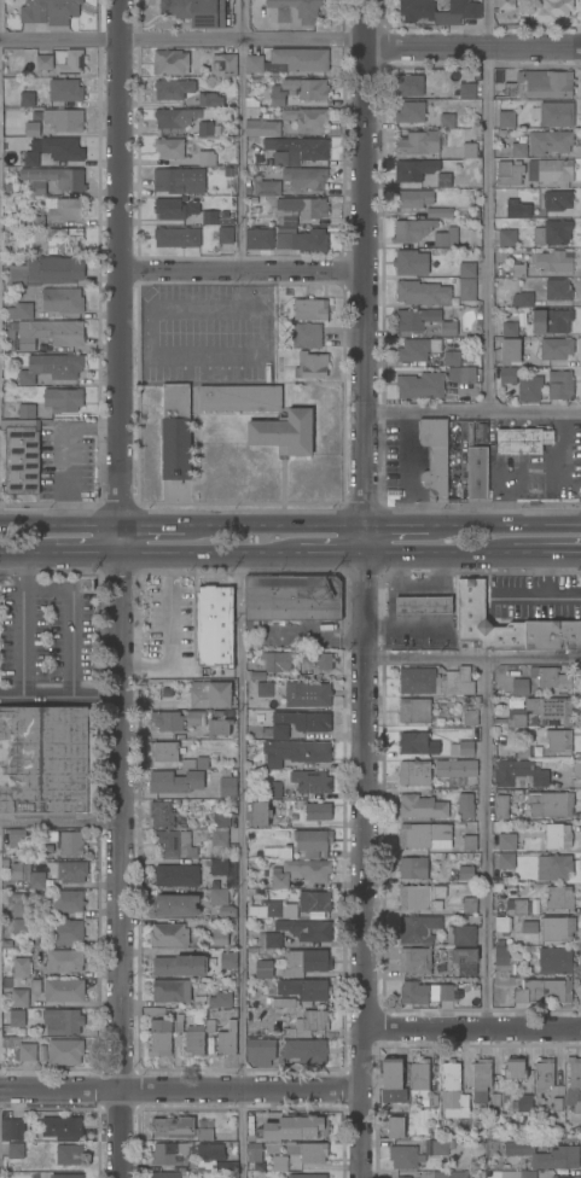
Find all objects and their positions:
building: (507, 5)
building: (548, 10)
building: (197, 11)
building: (292, 11)
building: (50, 12)
building: (440, 12)
road: (291, 41)
building: (301, 58)
building: (69, 60)
building: (43, 62)
building: (169, 62)
building: (252, 63)
building: (223, 64)
building: (539, 83)
building: (407, 84)
building: (173, 88)
building: (65, 89)
building: (466, 89)
building: (297, 91)
building: (27, 99)
building: (210, 99)
building: (411, 112)
building: (556, 113)
building: (175, 116)
building: (307, 117)
building: (63, 118)
building: (506, 118)
building: (447, 119)
building: (262, 127)
building: (33, 128)
building: (205, 128)
road: (239, 134)
building: (418, 141)
building: (541, 142)
building: (59, 147)
building: (173, 147)
building: (295, 150)
building: (469, 150)
building: (31, 158)
building: (207, 158)
building: (413, 169)
building: (551, 170)
building: (509, 173)
building: (57, 176)
building: (304, 176)
building: (179, 180)
building: (443, 180)
building: (265, 187)
building: (35, 188)
building: (412, 198)
building: (556, 199)
road: (482, 206)
building: (63, 208)
building: (174, 208)
building: (298, 209)
building: (523, 209)
building: (438, 212)
building: (216, 217)
building: (412, 229)
building: (552, 232)
building: (225, 234)
building: (176, 237)
building: (506, 237)
building: (258, 238)
building: (62, 239)
building: (441, 239)
building: (283, 240)
building: (312, 240)
building: (551, 261)
building: (411, 262)
road: (240, 269)
building: (466, 269)
building: (46, 270)
building: (519, 270)
building: (466, 288)
building: (557, 288)
building: (422, 292)
building: (522, 298)
building: (62, 299)
building: (309, 308)
building: (19, 310)
building: (422, 320)
building: (551, 320)
building: (509, 328)
building: (50, 331)
building: (307, 334)
building: (554, 348)
building: (416, 349)
road: (193, 355)
building: (451, 357)
building: (506, 358)
building: (310, 365)
building: (51, 367)
building: (463, 373)
building: (559, 384)
building: (420, 385)
building: (529, 387)
building: (239, 397)
building: (63, 398)
building: (27, 410)
road: (471, 413)
building: (175, 431)
building: (283, 431)
building: (522, 441)
road: (62, 447)
building: (21, 455)
building: (435, 455)
building: (476, 467)
road: (534, 471)
road: (58, 523)
road: (151, 523)
road: (273, 523)
road: (395, 523)
road: (505, 523)
road: (27, 550)
road: (86, 550)
road: (330, 550)
road: (436, 550)
road: (207, 552)
road: (546, 552)
traffic signals: (580, 552)
road: (117, 589)
road: (362, 589)
building: (292, 596)
building: (423, 603)
building: (506, 617)
road: (68, 619)
road: (19, 623)
building: (214, 625)
road: (169, 631)
road: (471, 653)
building: (277, 660)
building: (324, 660)
building: (417, 680)
building: (541, 680)
building: (459, 681)
building: (265, 688)
building: (211, 694)
building: (307, 694)
road: (59, 695)
building: (551, 707)
building: (413, 710)
building: (469, 716)
building: (196, 717)
building: (522, 718)
building: (304, 719)
building: (167, 721)
building: (219, 727)
building: (275, 730)
building: (558, 740)
building: (417, 743)
building: (463, 748)
building: (163, 750)
building: (295, 751)
building: (522, 751)
building: (47, 758)
building: (465, 768)
building: (413, 772)
building: (516, 772)
building: (310, 780)
building: (174, 781)
building: (227, 786)
building: (273, 789)
building: (544, 804)
building: (465, 805)
building: (422, 806)
building: (502, 806)
building: (318, 810)
building: (161, 812)
building: (260, 812)
road: (58, 817)
building: (221, 820)
building: (424, 835)
building: (557, 835)
building: (17, 836)
building: (219, 836)
road: (482, 836)
building: (312, 841)
building: (469, 841)
building: (506, 841)
building: (70, 842)
building: (175, 844)
building: (285, 853)
building: (506, 859)
road: (239, 864)
building: (217, 867)
building: (412, 867)
building: (553, 867)
building: (66, 870)
building: (308, 870)
building: (464, 873)
building: (27, 874)
building: (178, 875)
building: (278, 877)
building: (219, 896)
building: (420, 897)
building: (559, 897)
building: (66, 900)
building: (314, 900)
building: (18, 904)
building: (176, 904)
building: (469, 904)
building: (502, 906)
building: (521, 906)
building: (273, 909)
building: (502, 923)
building: (22, 925)
building: (529, 926)
building: (557, 927)
building: (306, 928)
building: (418, 929)
building: (68, 932)
building: (168, 933)
building: (219, 934)
building: (460, 934)
building: (271, 939)
building: (228, 958)
building: (414, 960)
building: (464, 960)
building: (554, 960)
building: (65, 961)
building: (304, 961)
building: (502, 962)
building: (178, 964)
building: (22, 968)
building: (263, 968)
building: (35, 986)
building: (304, 987)
building: (545, 990)
building: (65, 991)
building: (172, 991)
building: (424, 991)
building: (19, 998)
building: (220, 998)
building: (284, 1002)
building: (157, 1010)
building: (16, 1017)
road: (475, 1017)
building: (62, 1021)
building: (312, 1022)
building: (179, 1024)
building: (210, 1026)
building: (159, 1037)
building: (193, 1039)
building: (227, 1039)
building: (306, 1049)
building: (64, 1050)
building: (260, 1050)
building: (28, 1051)
building: (515, 1069)
building: (544, 1072)
building: (420, 1074)
building: (481, 1079)
building: (391, 1080)
building: (573, 1083)
road: (184, 1087)
building: (453, 1091)
building: (431, 1101)
building: (522, 1103)
building: (558, 1104)
building: (60, 1126)
building: (292, 1126)
building: (395, 1126)
building: (11, 1129)
building: (182, 1129)
building: (441, 1145)
building: (518, 1147)
building: (14, 1149)
building: (254, 1150)
building: (308, 1153)
building: (69, 1154)
building: (165, 1154)
building: (406, 1155)
building: (213, 1157)
building: (558, 1157)
building: (279, 1162)
building: (43, 1174)
building: (68, 1174)
building: (169, 1174)
building: (449, 1174)
building: (528, 1174)
building: (307, 1176)
building: (262, 1177)
building: (403, 1177)
building: (567, 1177)

